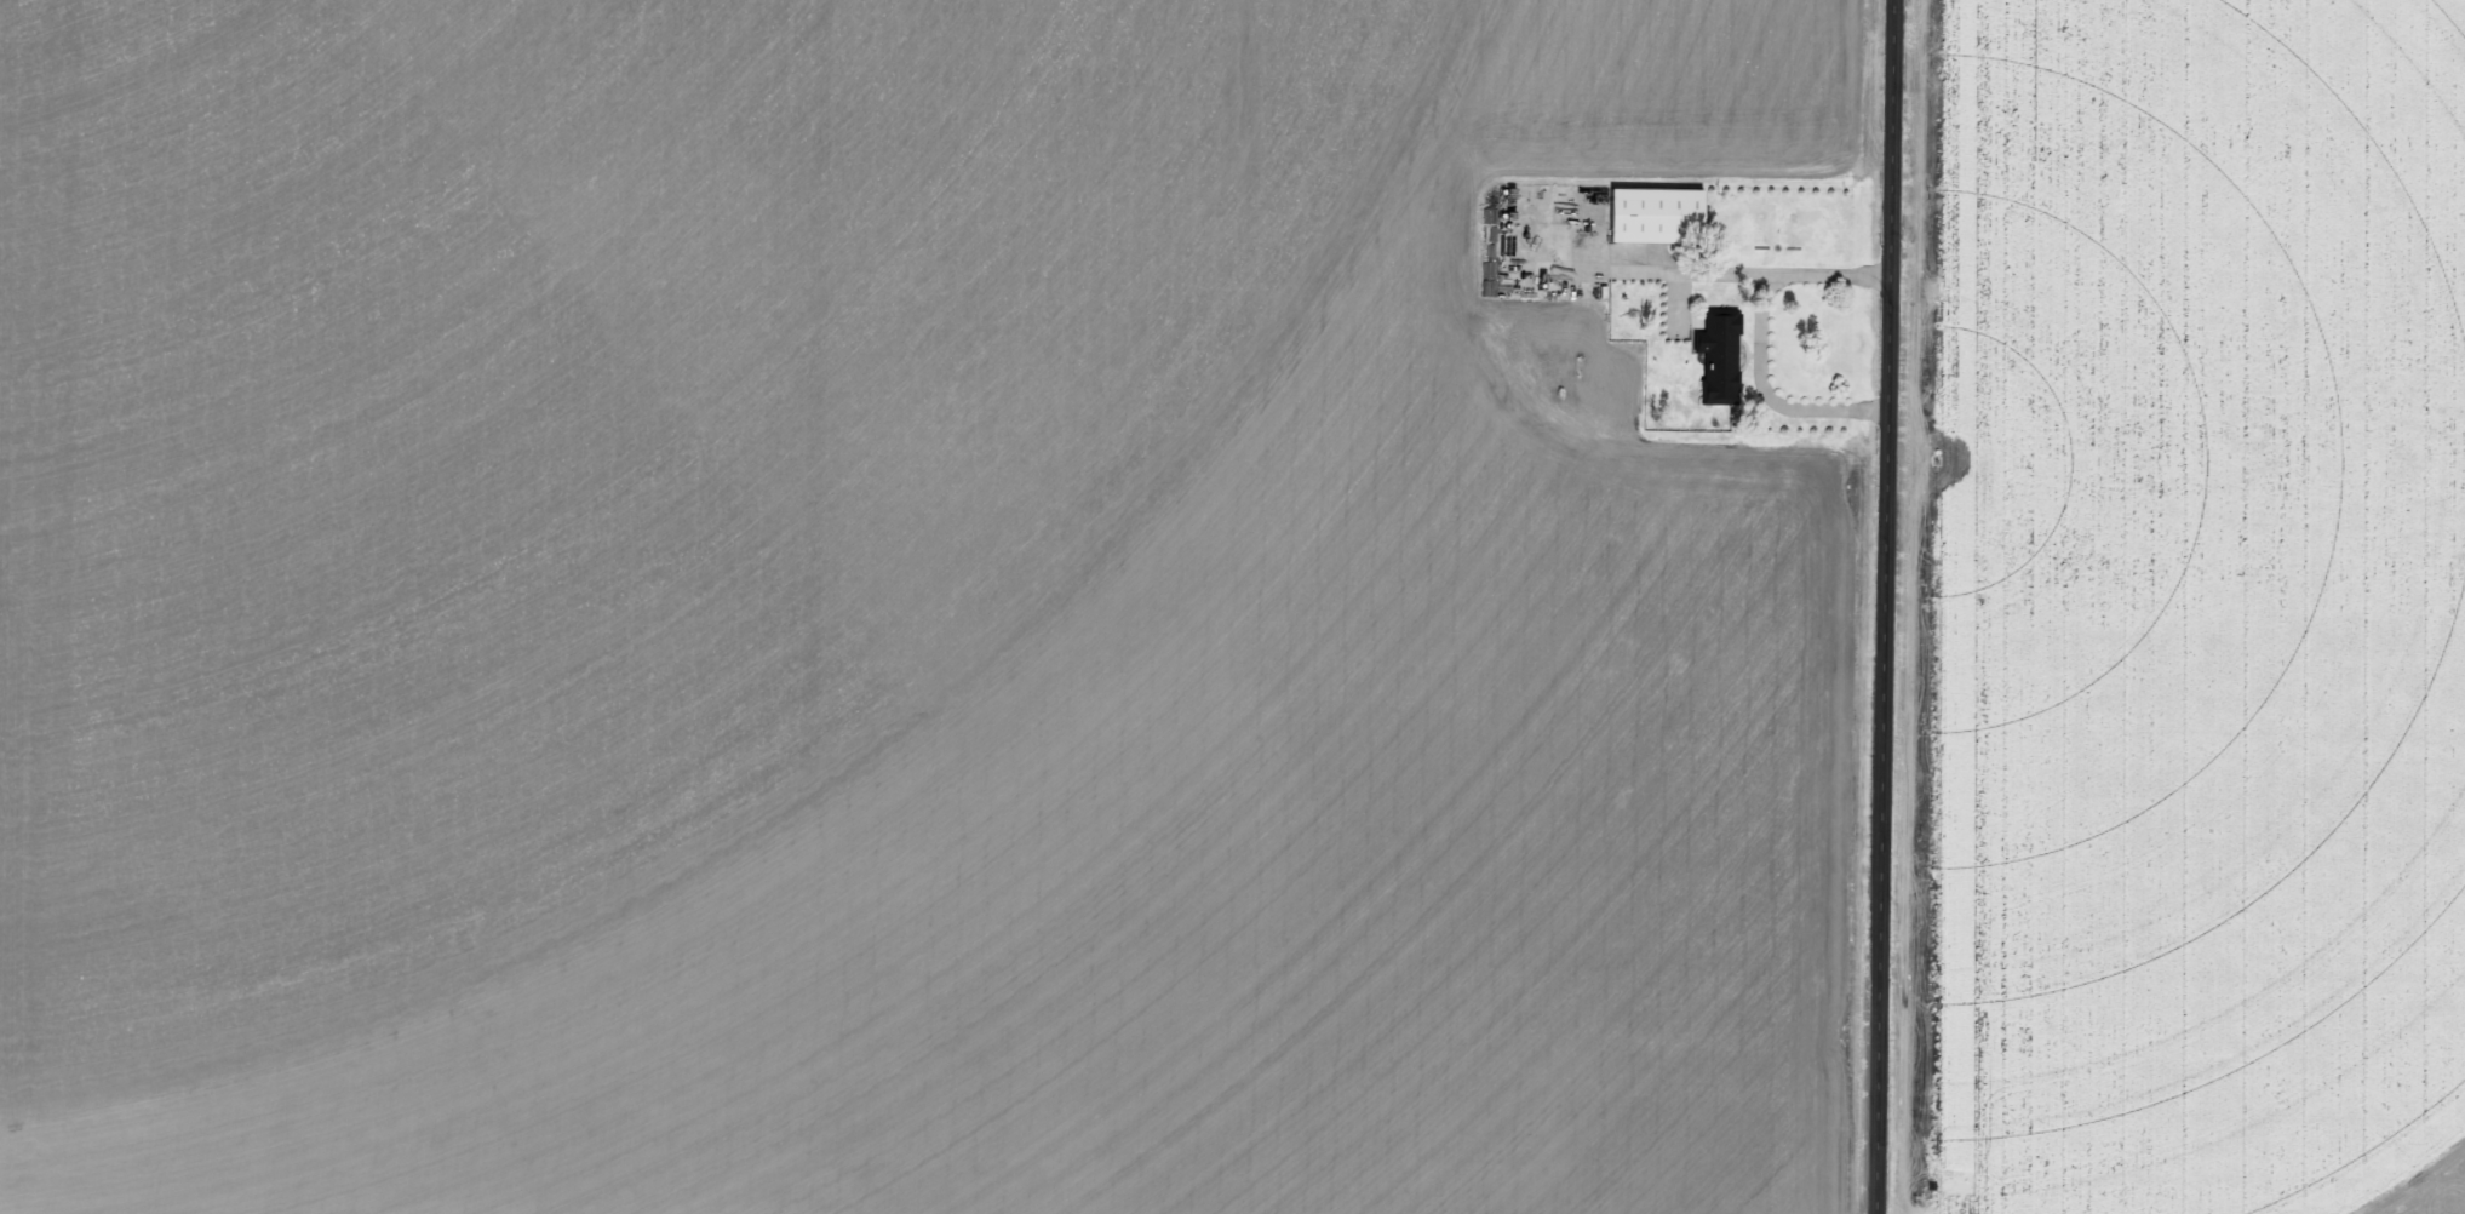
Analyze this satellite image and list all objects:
building: (1719, 327)
road: (1888, 606)

